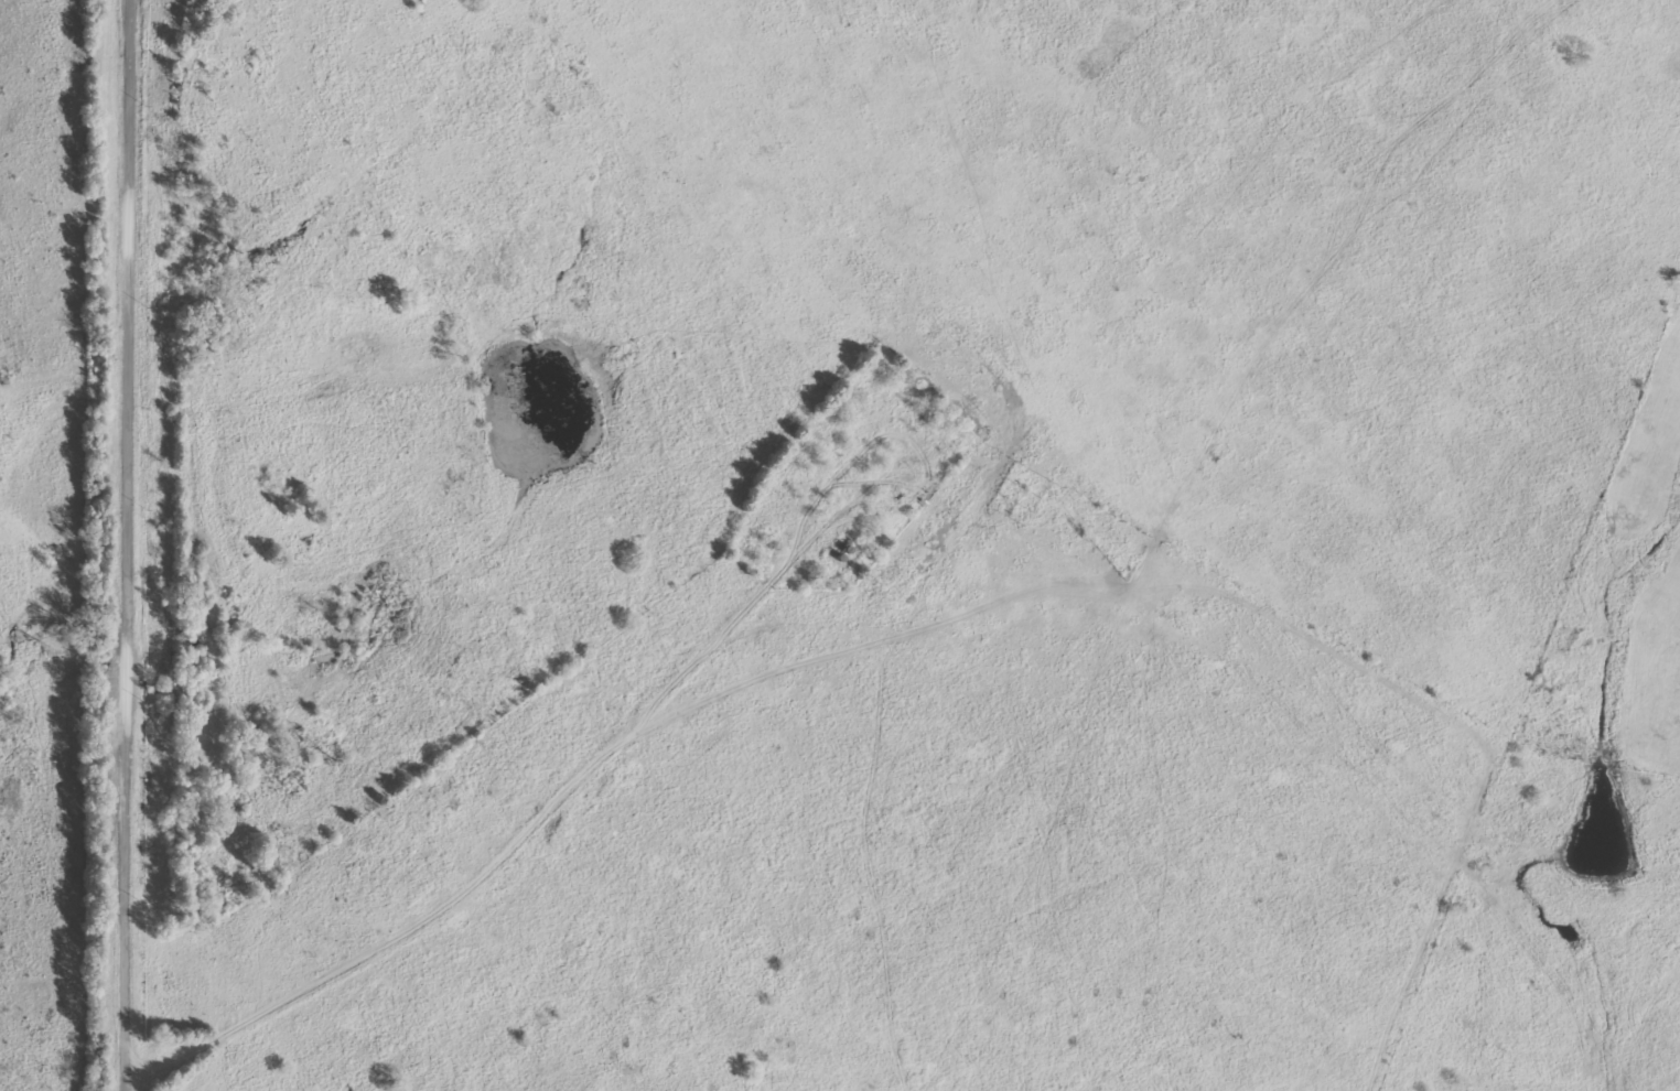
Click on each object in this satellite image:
road: (144, 545)

